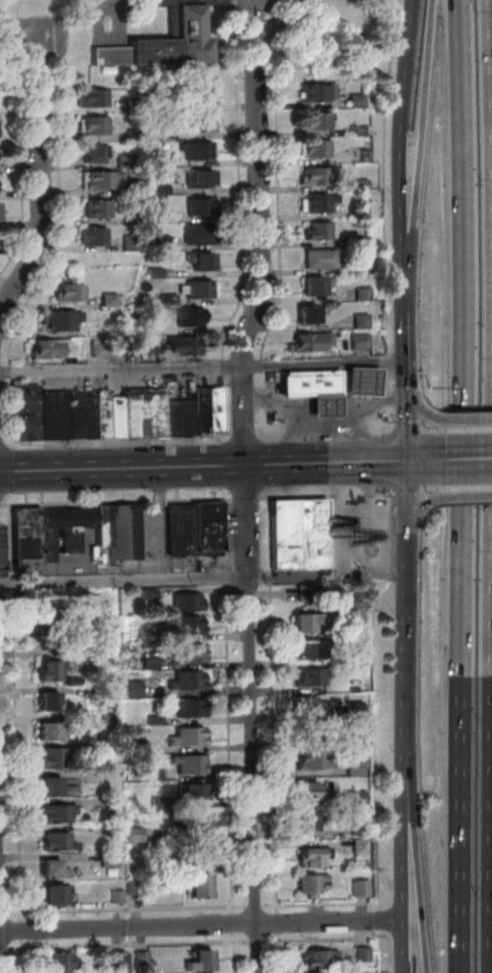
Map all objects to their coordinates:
building: (161, 41)
building: (306, 91)
building: (191, 94)
building: (89, 97)
building: (345, 99)
building: (150, 103)
building: (130, 105)
building: (304, 119)
building: (193, 123)
building: (90, 125)
road: (391, 126)
road: (416, 127)
building: (346, 129)
building: (151, 131)
building: (131, 134)
road: (16, 136)
building: (304, 146)
building: (192, 149)
building: (88, 152)
building: (352, 156)
building: (121, 160)
building: (154, 160)
road: (36, 174)
building: (306, 175)
building: (96, 179)
building: (193, 179)
road: (231, 181)
building: (349, 184)
building: (131, 187)
building: (155, 189)
building: (307, 202)
building: (195, 206)
building: (93, 208)
building: (349, 212)
building: (155, 215)
building: (133, 218)
road: (372, 218)
road: (269, 220)
building: (349, 223)
road: (54, 226)
building: (308, 230)
building: (193, 233)
building: (89, 236)
building: (349, 241)
building: (126, 242)
building: (156, 242)
building: (311, 258)
building: (194, 260)
building: (151, 273)
road: (394, 281)
building: (306, 286)
building: (193, 290)
building: (66, 293)
building: (352, 294)
building: (105, 299)
building: (162, 299)
building: (308, 312)
building: (192, 318)
building: (65, 320)
building: (357, 320)
building: (307, 342)
building: (356, 342)
building: (134, 343)
building: (184, 345)
building: (97, 347)
building: (52, 348)
road: (321, 362)
road: (120, 368)
building: (358, 379)
building: (308, 382)
road: (402, 385)
road: (223, 398)
building: (322, 403)
building: (205, 409)
road: (416, 410)
building: (140, 411)
building: (78, 412)
building: (49, 414)
building: (98, 415)
building: (112, 415)
building: (176, 416)
road: (465, 418)
road: (321, 420)
road: (403, 428)
road: (465, 428)
road: (427, 429)
road: (322, 431)
road: (243, 437)
road: (119, 440)
road: (356, 440)
road: (296, 441)
road: (3, 444)
road: (466, 459)
road: (384, 460)
road: (422, 460)
traffic signals: (405, 461)
road: (202, 465)
road: (459, 486)
road: (466, 486)
road: (491, 486)
road: (428, 488)
road: (404, 490)
road: (244, 495)
road: (325, 495)
road: (245, 496)
road: (466, 496)
road: (116, 499)
road: (421, 502)
road: (405, 516)
road: (153, 523)
building: (97, 525)
building: (204, 526)
building: (61, 527)
building: (176, 529)
building: (121, 531)
building: (311, 533)
building: (283, 534)
building: (24, 536)
road: (352, 564)
road: (331, 569)
road: (369, 569)
road: (202, 578)
building: (148, 592)
building: (307, 593)
building: (185, 601)
building: (42, 620)
building: (307, 620)
building: (85, 624)
building: (187, 624)
building: (145, 635)
building: (60, 648)
building: (314, 649)
building: (180, 652)
road: (405, 652)
building: (357, 656)
building: (145, 663)
building: (45, 669)
building: (312, 676)
building: (72, 680)
building: (185, 680)
building: (127, 687)
road: (374, 696)
building: (47, 699)
building: (304, 704)
road: (273, 705)
building: (186, 709)
building: (356, 709)
building: (149, 716)
road: (12, 717)
building: (109, 721)
building: (47, 729)
building: (307, 732)
building: (187, 735)
building: (131, 736)
building: (356, 741)
building: (51, 756)
building: (186, 761)
building: (313, 761)
building: (357, 766)
building: (151, 771)
building: (53, 785)
building: (190, 791)
building: (310, 791)
building: (359, 798)
building: (110, 801)
building: (159, 803)
building: (52, 814)
road: (229, 816)
building: (311, 819)
building: (190, 822)
building: (112, 828)
building: (362, 830)
building: (134, 834)
building: (54, 841)
building: (363, 845)
road: (405, 852)
road: (417, 852)
building: (196, 853)
building: (316, 856)
building: (108, 857)
building: (160, 865)
building: (46, 867)
building: (314, 884)
building: (193, 885)
building: (363, 888)
building: (51, 893)
building: (114, 895)
road: (322, 905)
road: (261, 906)
road: (381, 920)
road: (279, 923)
road: (202, 925)
road: (233, 938)
road: (323, 939)
road: (258, 940)
road: (126, 943)
road: (21, 952)
road: (382, 952)
road: (280, 953)
building: (359, 953)
building: (143, 956)
building: (318, 956)
building: (115, 958)
building: (198, 959)
building: (56, 962)
building: (312, 972)

